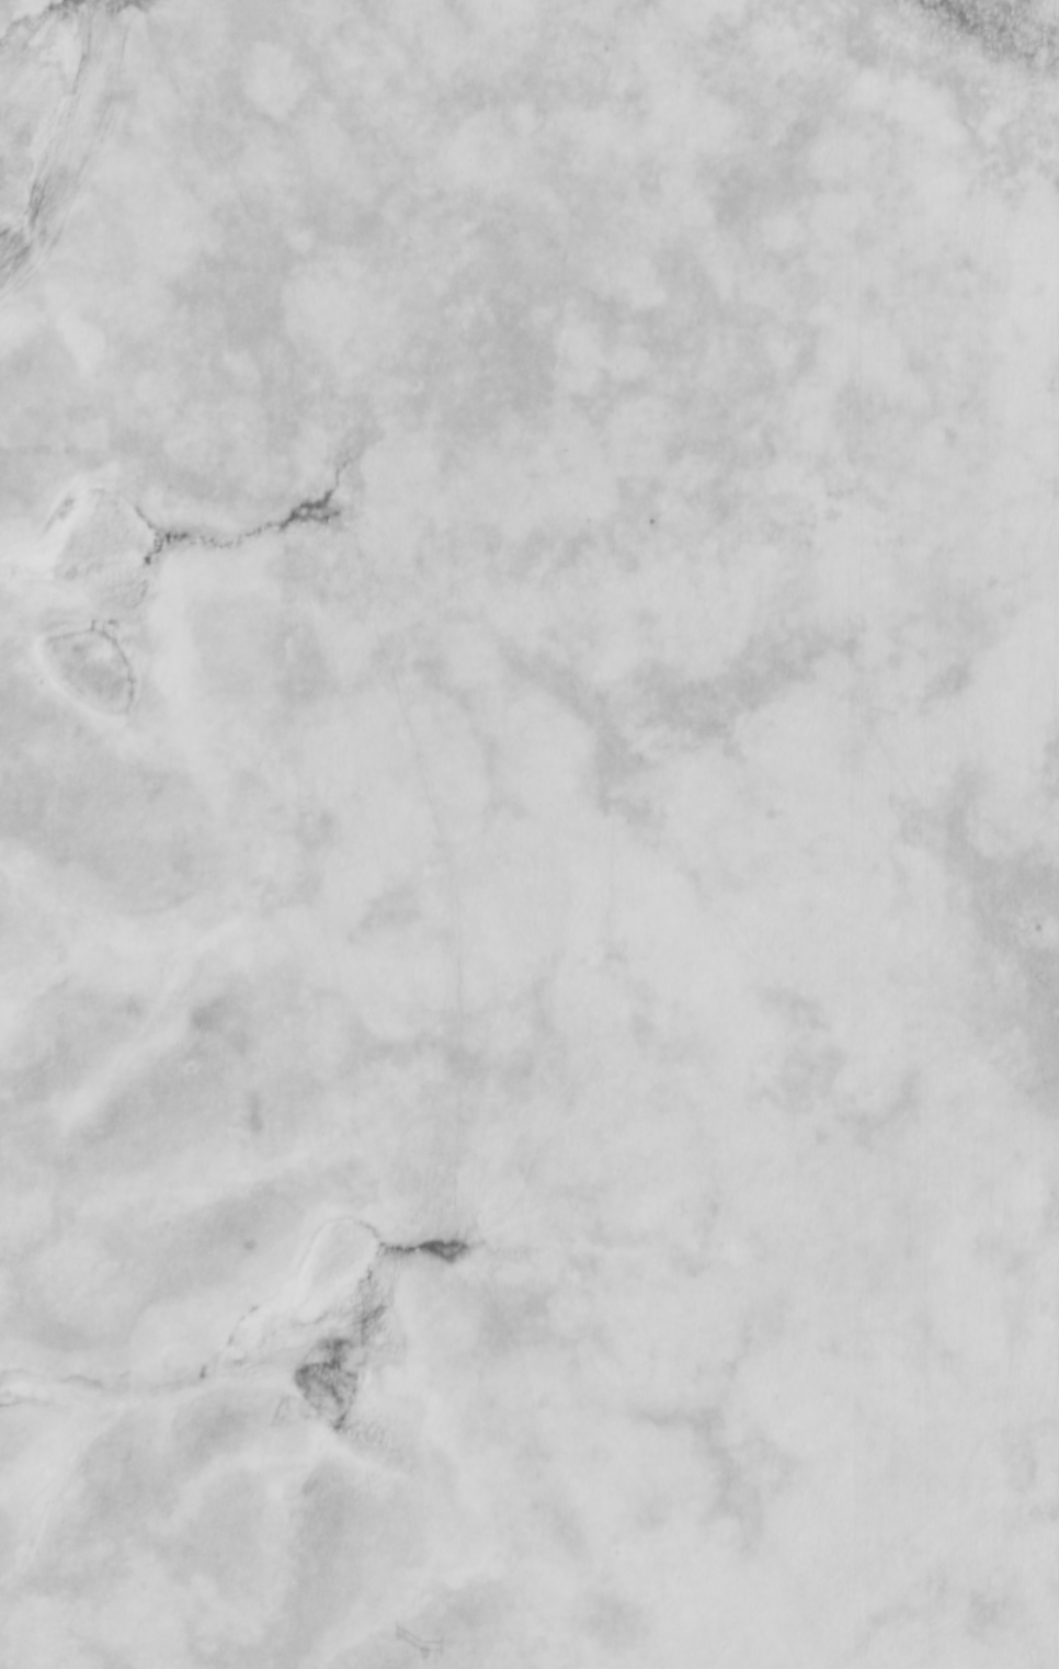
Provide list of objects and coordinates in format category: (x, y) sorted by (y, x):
power tower: (423, 1642)

